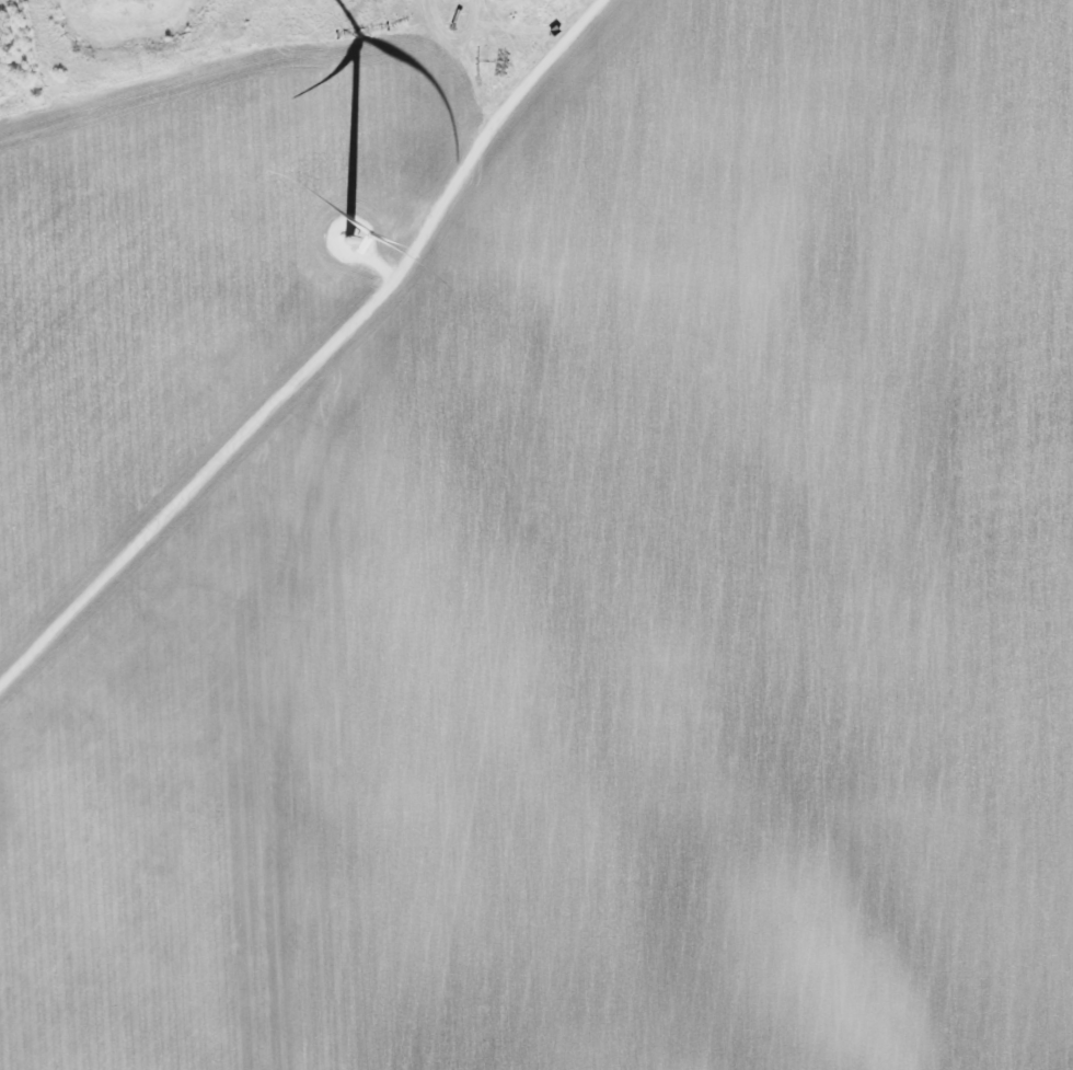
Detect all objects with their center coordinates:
wind turbine: (347, 229)

